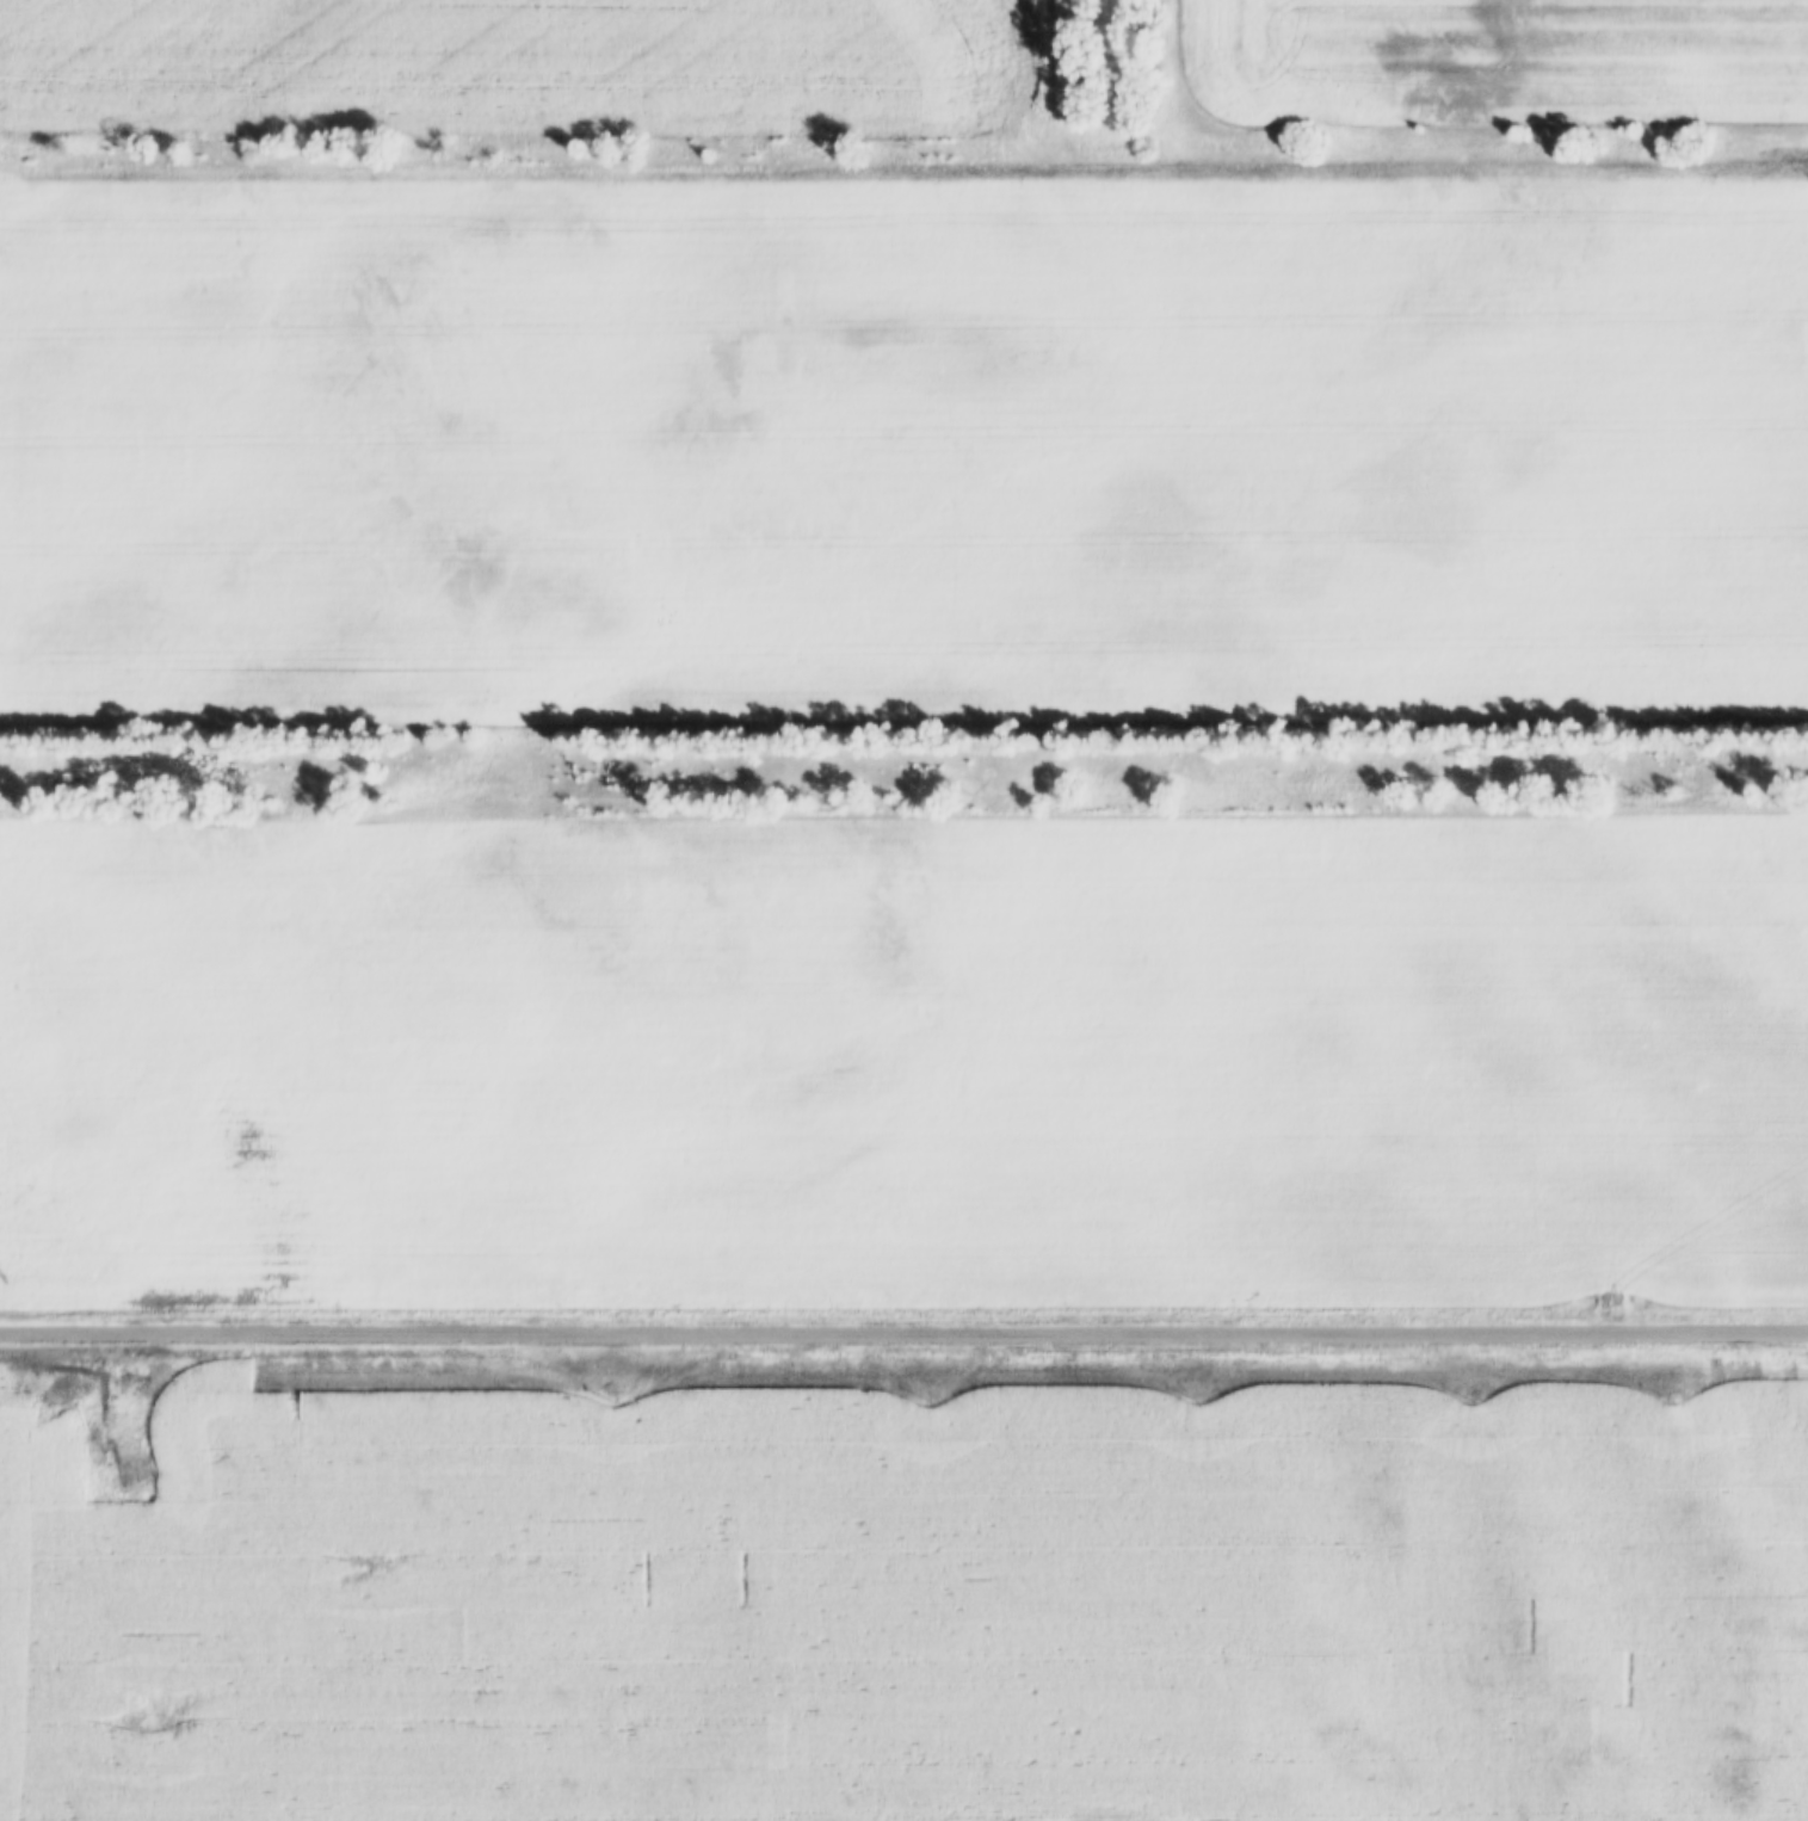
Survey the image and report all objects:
road: (903, 1335)

